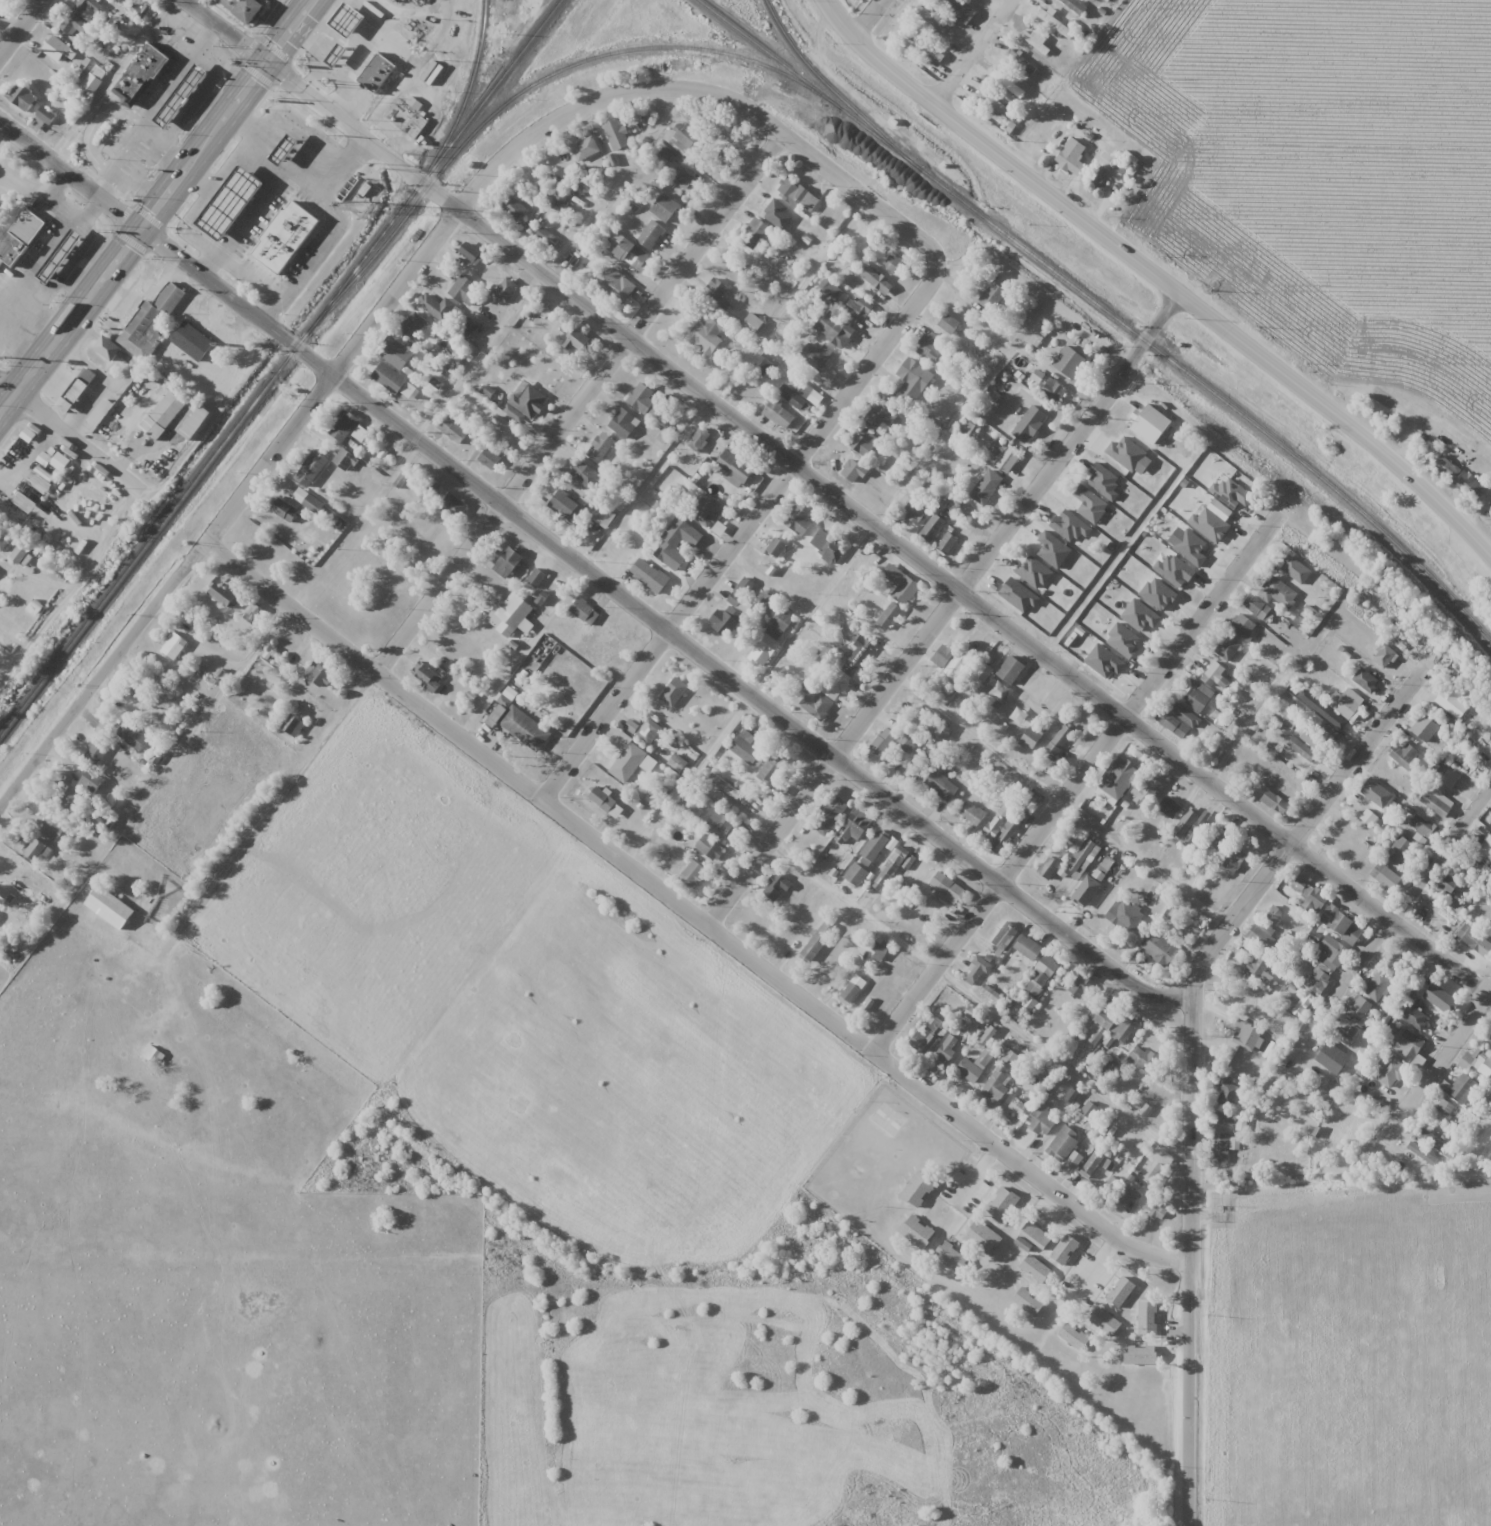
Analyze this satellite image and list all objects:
building: (404, 0)
building: (1076, 6)
building: (245, 9)
building: (961, 10)
building: (80, 16)
road: (869, 17)
building: (351, 23)
building: (1056, 24)
road: (22, 29)
building: (925, 46)
building: (57, 49)
road: (971, 49)
road: (876, 51)
building: (340, 58)
railway: (778, 60)
building: (1019, 63)
railway: (802, 65)
railway: (551, 72)
building: (141, 74)
building: (379, 76)
building: (91, 83)
building: (1008, 86)
railway: (468, 88)
road: (303, 91)
road: (705, 94)
building: (22, 97)
building: (184, 98)
road: (302, 128)
building: (617, 133)
building: (687, 141)
building: (584, 148)
building: (287, 151)
building: (1072, 156)
road: (237, 160)
road: (339, 165)
crop: (1324, 175)
building: (681, 178)
building: (799, 194)
building: (3, 205)
building: (233, 205)
road: (158, 208)
building: (514, 208)
building: (665, 208)
road: (252, 213)
building: (779, 214)
building: (754, 232)
building: (651, 235)
road: (703, 236)
building: (22, 239)
building: (547, 239)
road: (167, 247)
building: (471, 253)
building: (634, 255)
building: (64, 257)
road: (208, 262)
building: (892, 263)
road: (303, 278)
building: (877, 280)
building: (145, 282)
building: (616, 284)
building: (722, 287)
building: (507, 290)
building: (466, 291)
building: (829, 292)
building: (993, 295)
road: (271, 307)
building: (439, 307)
building: (858, 308)
building: (149, 321)
road: (1217, 322)
building: (752, 324)
building: (949, 324)
building: (413, 325)
building: (835, 330)
building: (465, 331)
building: (707, 334)
building: (578, 341)
building: (192, 342)
building: (930, 347)
building: (108, 348)
building: (398, 352)
building: (821, 359)
building: (1070, 362)
building: (764, 364)
railway: (279, 367)
railway: (1184, 372)
building: (913, 379)
building: (393, 381)
building: (1054, 390)
building: (77, 391)
building: (641, 398)
building: (793, 398)
building: (529, 400)
building: (100, 413)
building: (779, 414)
building: (163, 415)
building: (877, 417)
building: (624, 423)
building: (1030, 424)
building: (343, 425)
building: (505, 429)
building: (453, 430)
building: (969, 431)
road: (67, 433)
building: (699, 439)
building: (863, 442)
building: (1008, 458)
building: (345, 460)
building: (18, 461)
building: (735, 466)
building: (311, 468)
building: (853, 472)
building: (584, 474)
building: (404, 475)
building: (1461, 480)
building: (308, 501)
road: (500, 505)
building: (566, 506)
building: (283, 509)
road: (60, 510)
building: (706, 511)
road: (229, 512)
building: (600, 517)
building: (801, 518)
building: (932, 528)
road: (742, 530)
building: (3, 543)
building: (676, 543)
building: (947, 543)
building: (828, 545)
building: (777, 548)
building: (508, 563)
building: (1293, 567)
building: (649, 576)
building: (536, 577)
building: (901, 584)
road: (73, 588)
road: (957, 589)
building: (1275, 591)
building: (222, 593)
building: (733, 608)
building: (1258, 608)
road: (944, 609)
building: (585, 612)
building: (253, 614)
building: (513, 614)
building: (890, 615)
building: (1242, 625)
building: (771, 638)
building: (173, 646)
building: (1227, 648)
building: (943, 655)
building: (1385, 656)
building: (957, 667)
building: (985, 669)
building: (1212, 673)
building: (427, 675)
building: (321, 676)
building: (838, 680)
building: (1366, 680)
building: (673, 691)
building: (1005, 691)
building: (1199, 697)
road: (756, 700)
building: (1452, 701)
building: (1343, 708)
building: (1283, 718)
building: (1178, 719)
building: (518, 723)
building: (293, 724)
building: (1425, 724)
building: (648, 732)
building: (941, 733)
building: (131, 735)
building: (1032, 736)
building: (1061, 739)
building: (906, 741)
building: (882, 742)
building: (745, 747)
building: (1302, 749)
building: (96, 750)
building: (1403, 755)
building: (627, 762)
building: (678, 763)
building: (772, 769)
building: (1118, 777)
building: (92, 780)
building: (941, 781)
road: (1074, 782)
building: (1147, 791)
building: (1373, 794)
building: (73, 801)
building: (606, 802)
building: (1275, 802)
building: (1436, 802)
building: (1169, 807)
building: (972, 813)
building: (829, 814)
building: (1490, 823)
building: (51, 825)
building: (718, 825)
building: (1422, 826)
building: (1003, 827)
building: (853, 829)
building: (1219, 843)
building: (31, 846)
building: (712, 849)
building: (1399, 849)
road: (1282, 850)
building: (866, 857)
building: (1082, 857)
building: (1233, 859)
building: (1049, 866)
building: (890, 868)
building: (695, 872)
building: (1384, 876)
building: (1445, 879)
building: (780, 883)
building: (954, 892)
building: (1085, 894)
building: (4, 895)
building: (1313, 896)
building: (109, 907)
building: (0, 913)
road: (693, 913)
building: (1274, 913)
building: (1429, 914)
building: (1124, 915)
building: (1347, 927)
road: (190, 931)
road: (1379, 937)
building: (1262, 938)
building: (817, 941)
building: (1475, 941)
building: (1028, 948)
building: (1159, 949)
building: (880, 950)
building: (1395, 965)
building: (1258, 967)
building: (977, 971)
building: (1041, 977)
building: (1317, 979)
building: (1080, 986)
building: (1378, 986)
building: (852, 990)
building: (1439, 997)
building: (1359, 1008)
building: (1414, 1017)
building: (1100, 1023)
building: (1123, 1028)
building: (1349, 1033)
building: (1247, 1037)
building: (1489, 1038)
building: (922, 1041)
building: (1408, 1045)
building: (1329, 1053)
building: (153, 1054)
building: (1143, 1058)
road: (1441, 1058)
building: (1476, 1062)
building: (975, 1066)
building: (1389, 1072)
building: (996, 1086)
building: (1462, 1088)
building: (1227, 1094)
building: (1443, 1107)
building: (1143, 1109)
building: (1089, 1110)
building: (1226, 1119)
building: (1041, 1120)
building: (1432, 1140)
building: (1223, 1147)
building: (1065, 1148)
building: (1093, 1162)
building: (1157, 1172)
building: (1103, 1173)
building: (1110, 1186)
building: (918, 1189)
building: (1128, 1196)
building: (1002, 1204)
building: (917, 1231)
building: (1036, 1235)
building: (983, 1237)
building: (1065, 1248)
building: (952, 1257)
road: (1190, 1261)
building: (1036, 1269)
building: (1121, 1291)
building: (1028, 1301)
road: (837, 1310)
building: (1147, 1318)
building: (1106, 1321)
building: (1074, 1336)
building: (1141, 1353)

